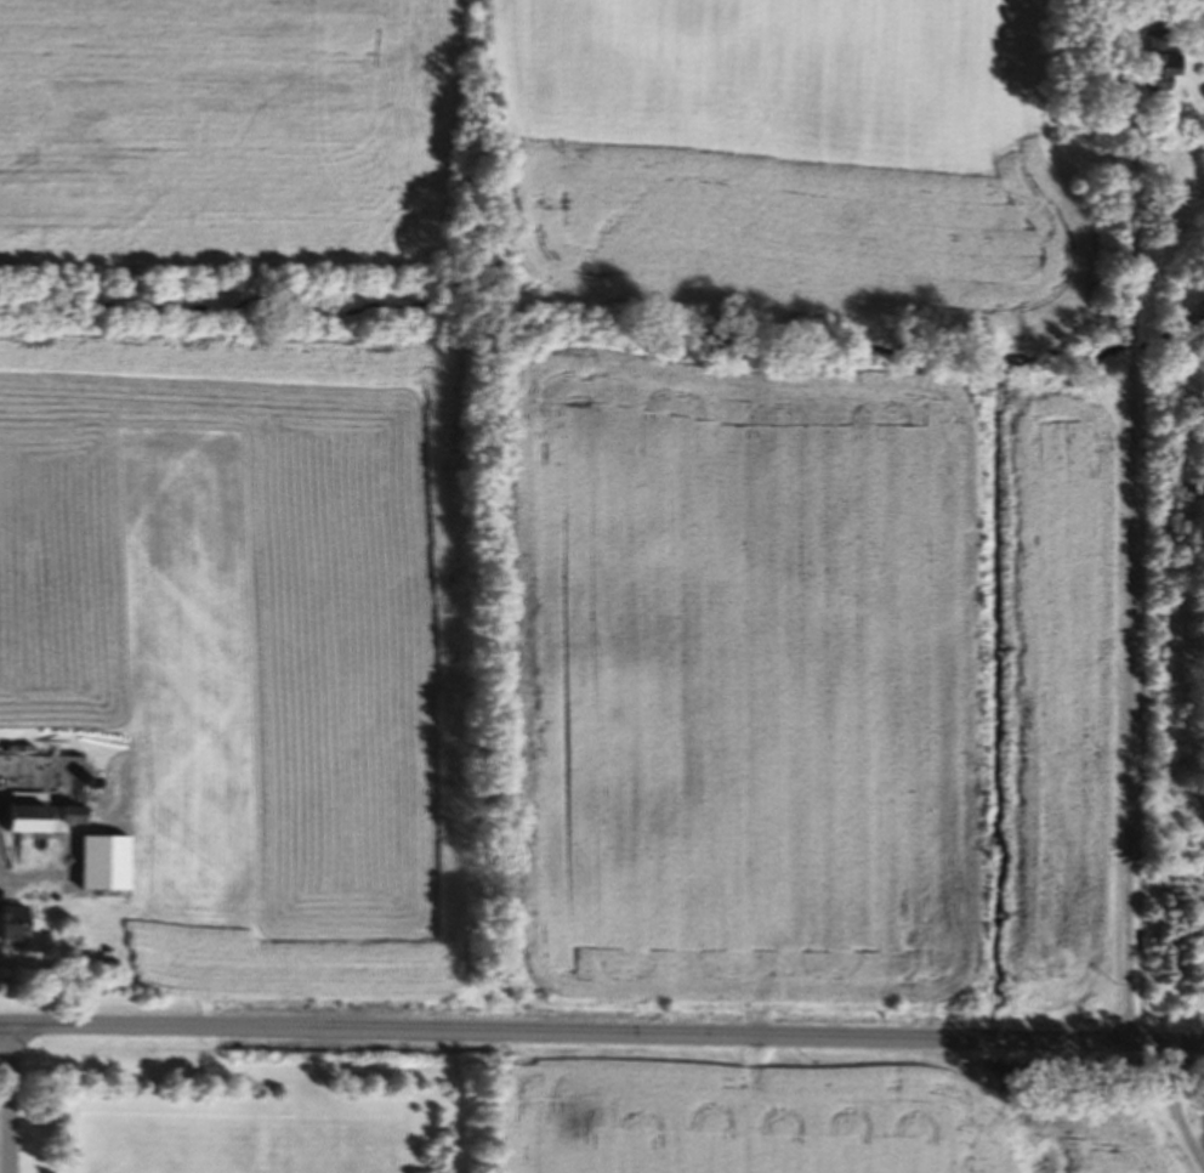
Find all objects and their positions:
building: (1157, 62)
road: (1121, 556)
building: (36, 822)
building: (10, 928)
road: (602, 1031)
road: (10, 1098)
road: (1169, 1111)

